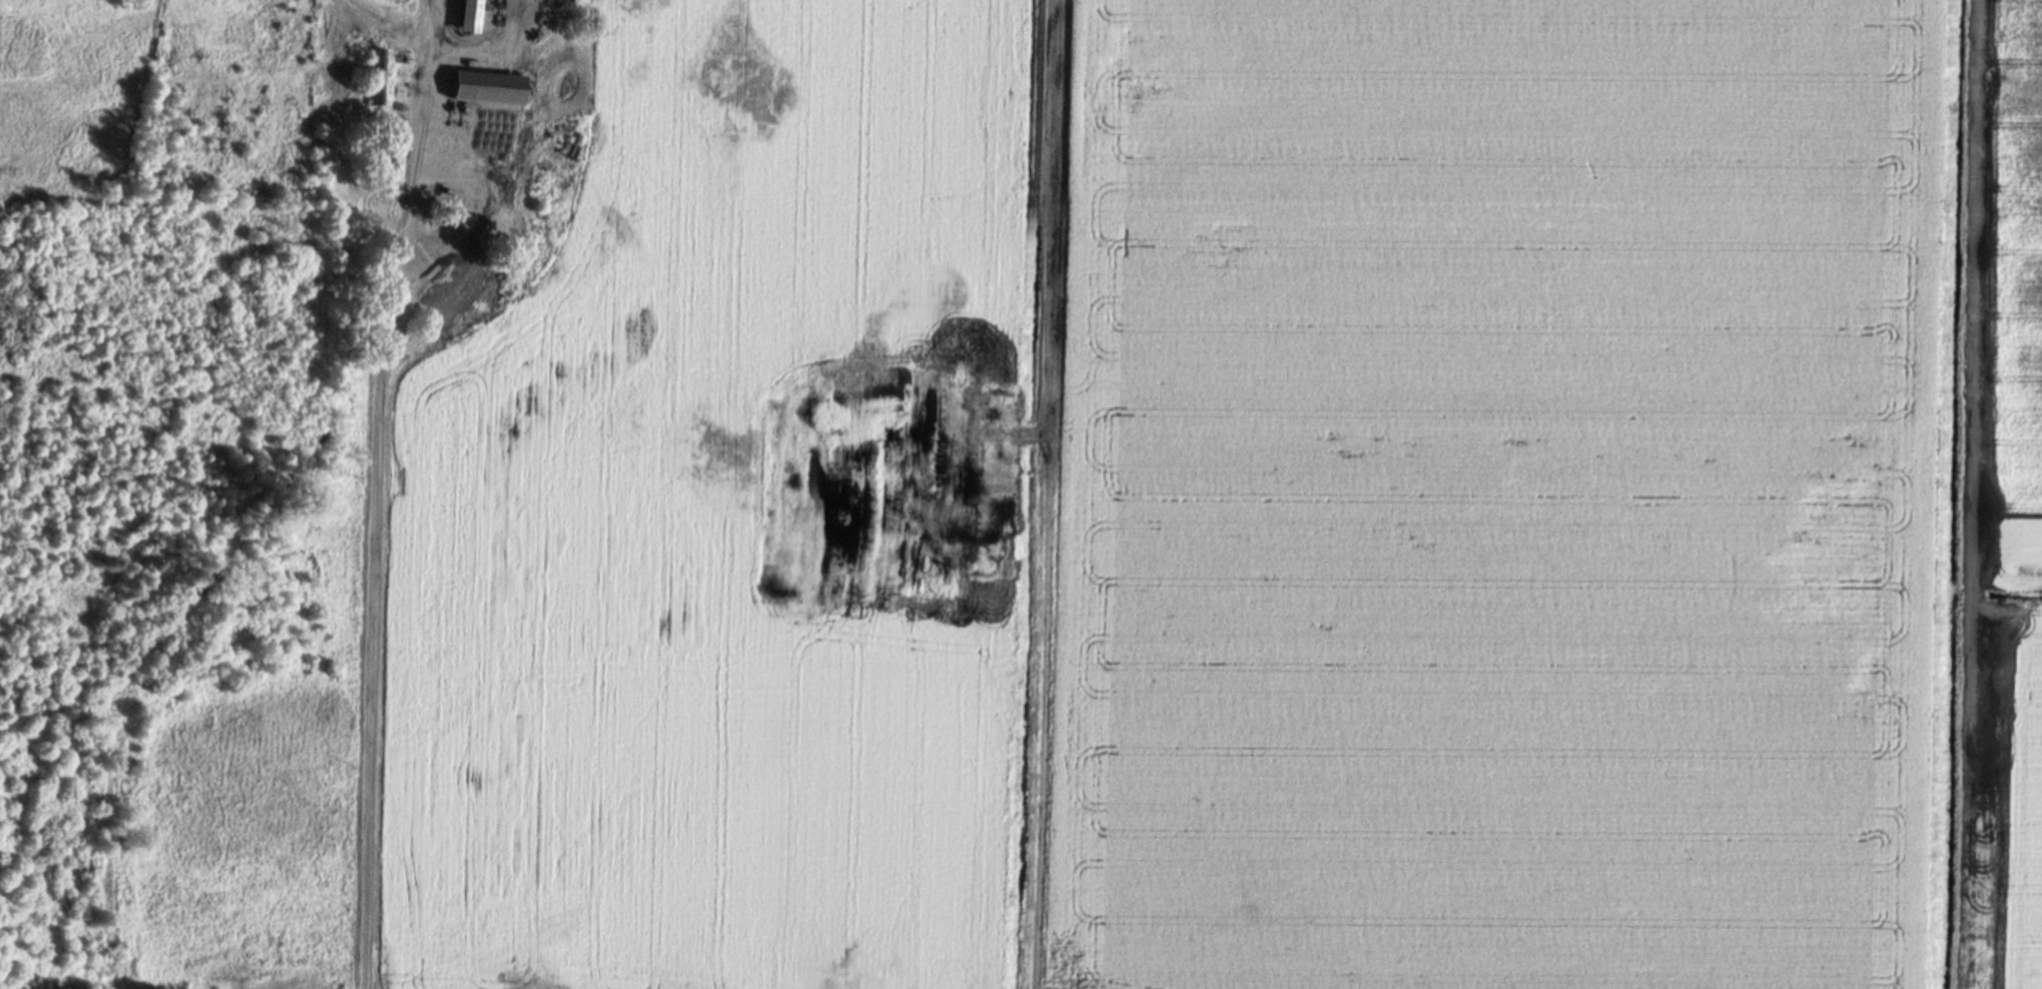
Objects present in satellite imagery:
building: (469, 18)
building: (374, 80)
building: (487, 91)
road: (357, 453)

